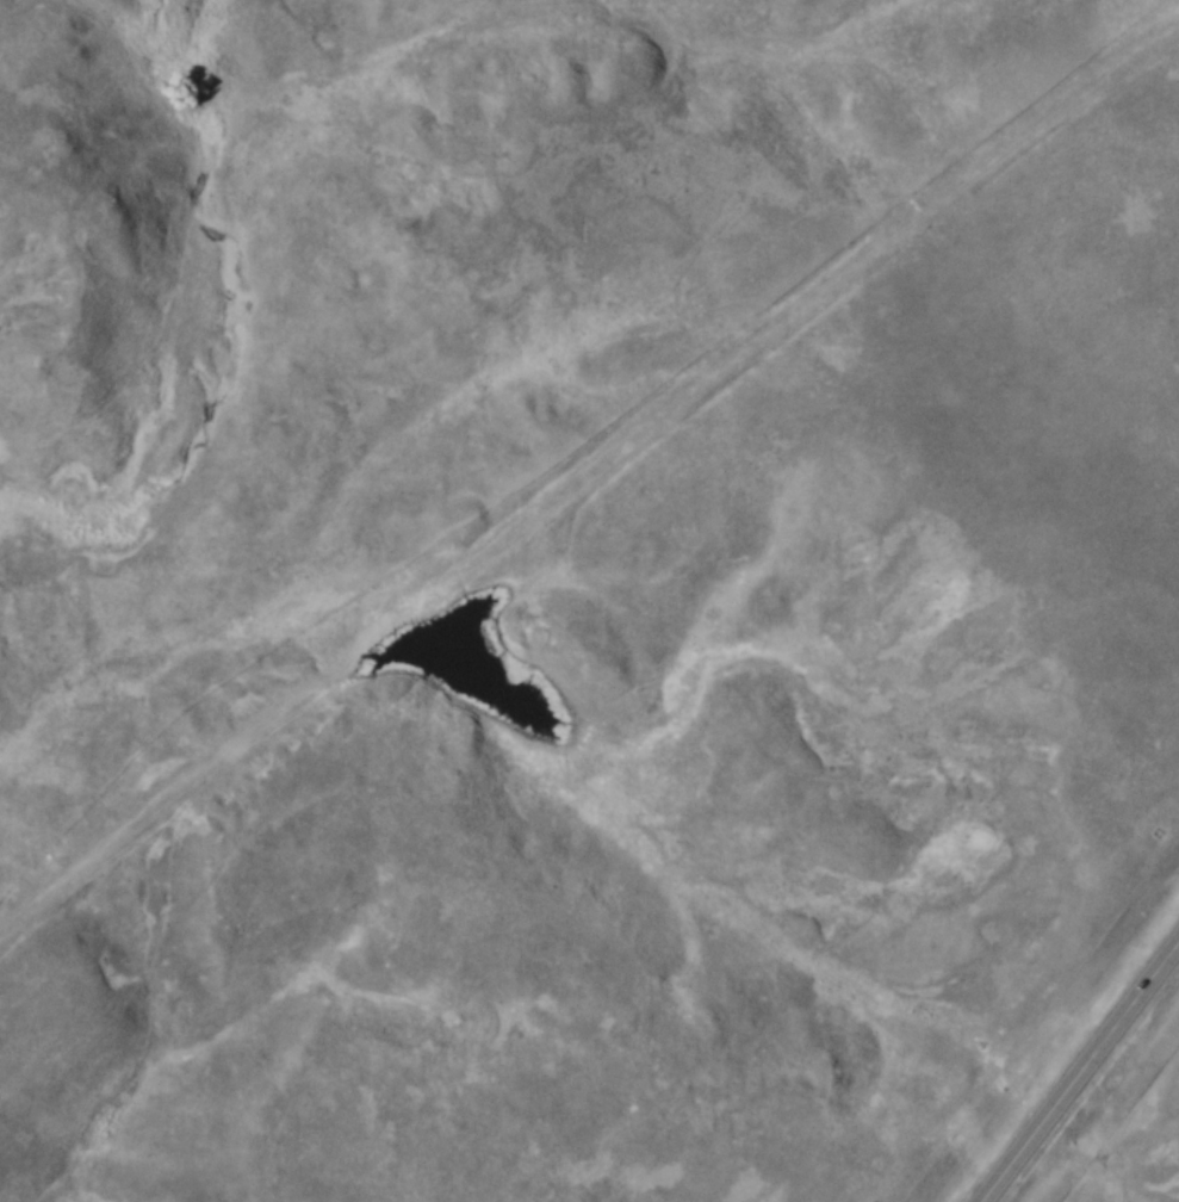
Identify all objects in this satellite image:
road: (575, 471)
road: (1075, 1066)

